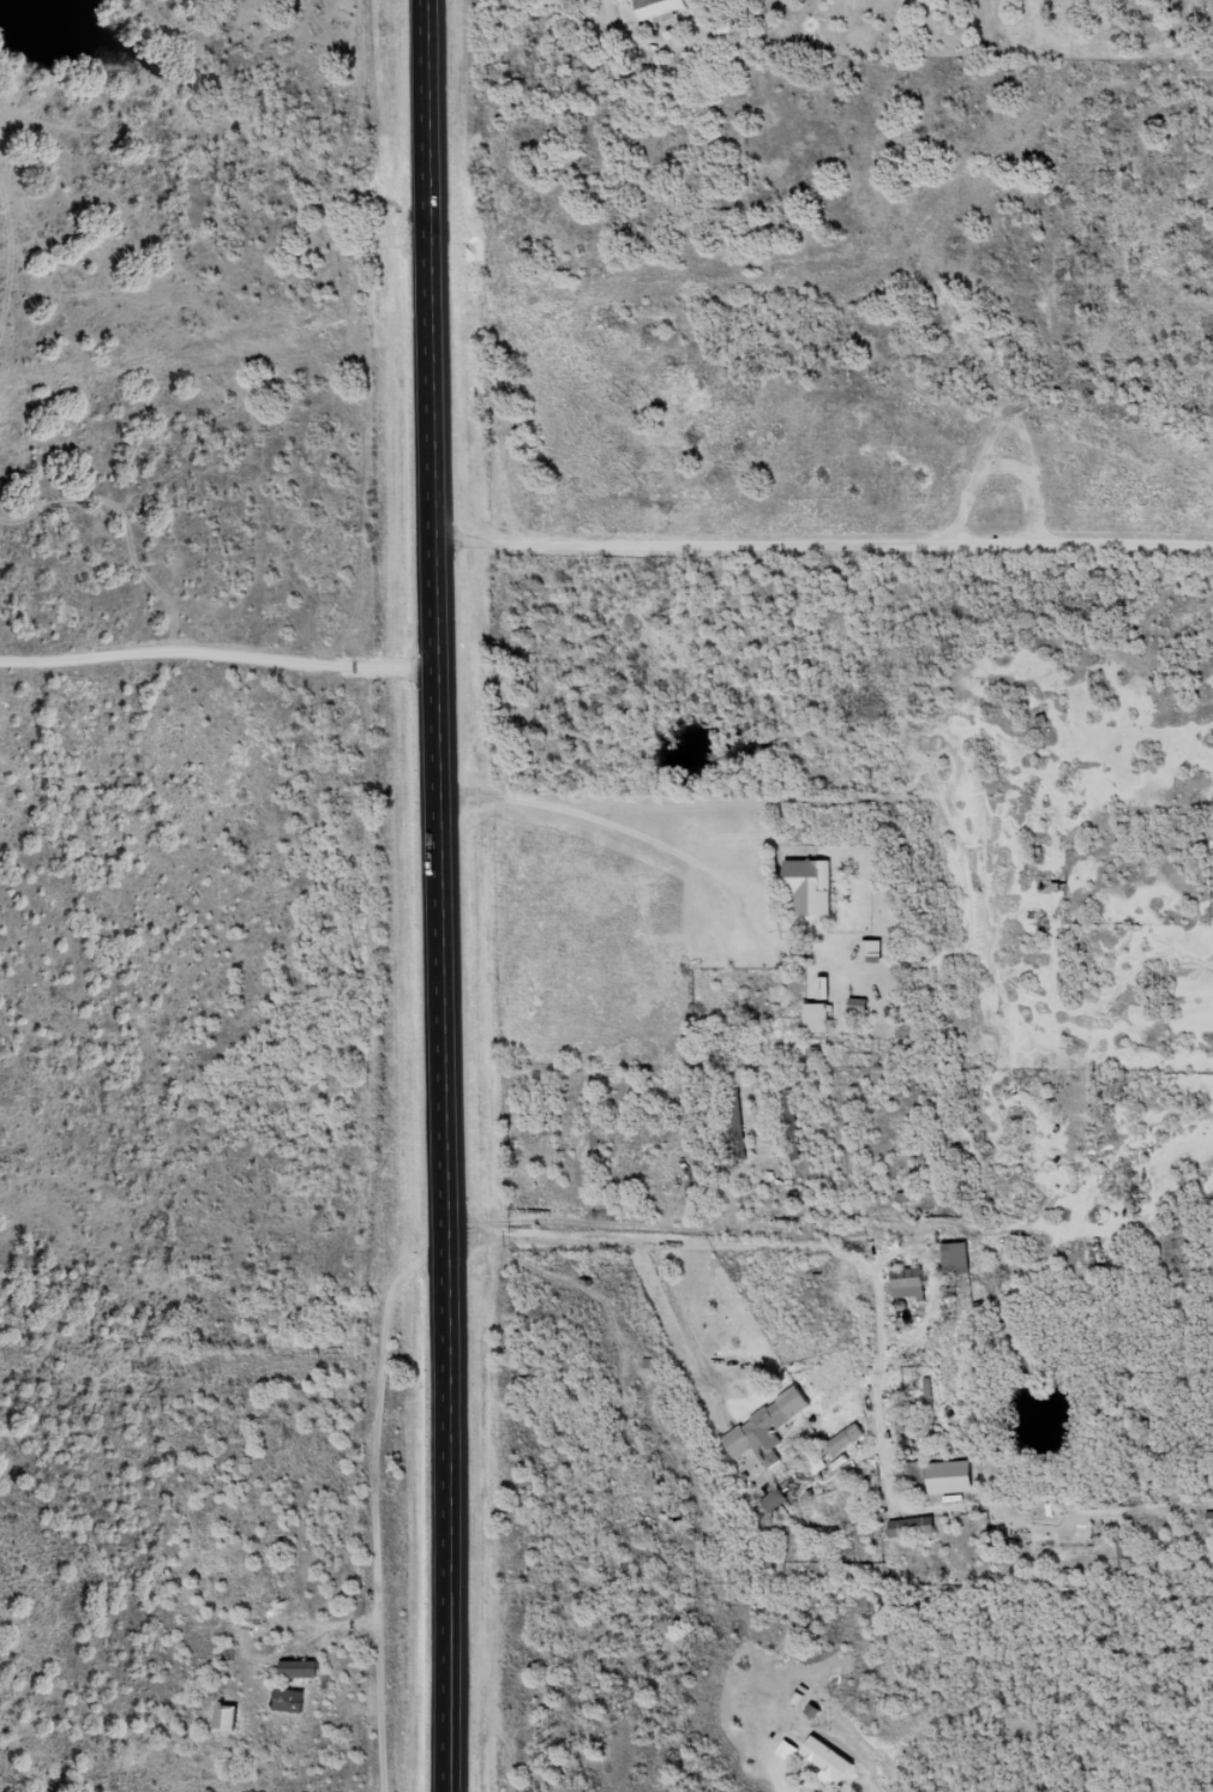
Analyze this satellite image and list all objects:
building: (749, 0)
building: (653, 10)
road: (825, 550)
road: (220, 649)
building: (811, 887)
road: (443, 895)
building: (872, 952)
building: (819, 1018)
building: (738, 1125)
building: (793, 1125)
building: (722, 1157)
building: (959, 1259)
building: (911, 1284)
road: (836, 1291)
building: (768, 1427)
building: (848, 1438)
building: (939, 1475)
building: (774, 1499)
building: (914, 1526)
building: (1127, 1554)
road: (995, 1566)
building: (304, 1670)
building: (830, 1757)

